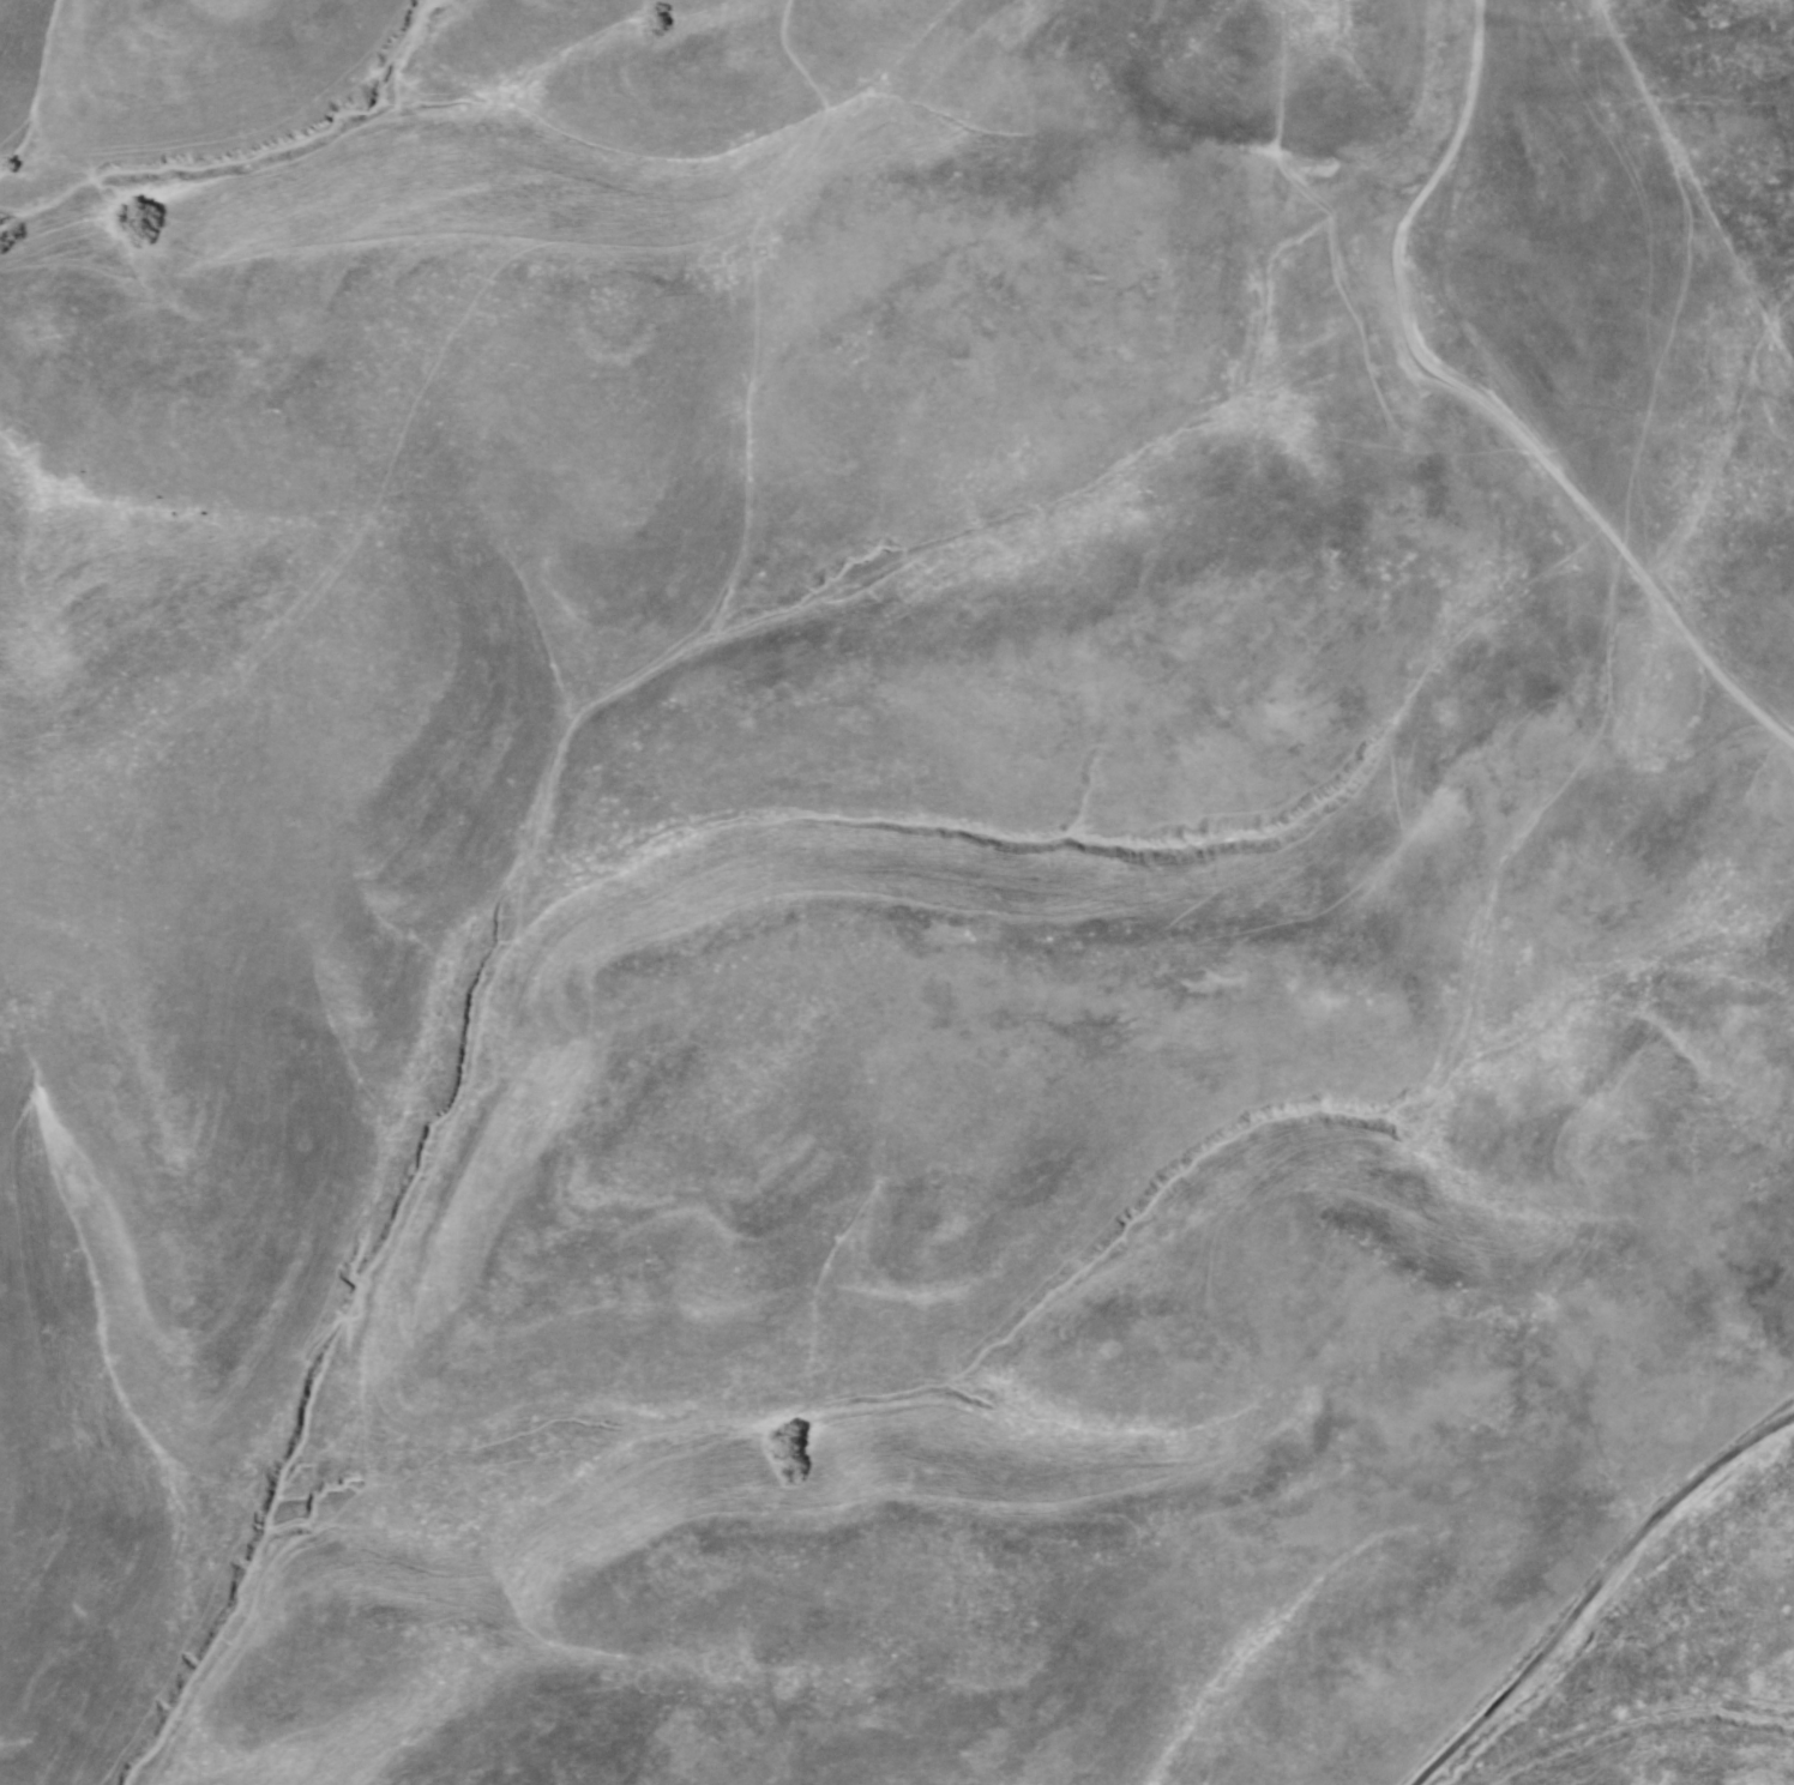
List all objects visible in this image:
road: (1486, 398)
road: (1588, 1585)

